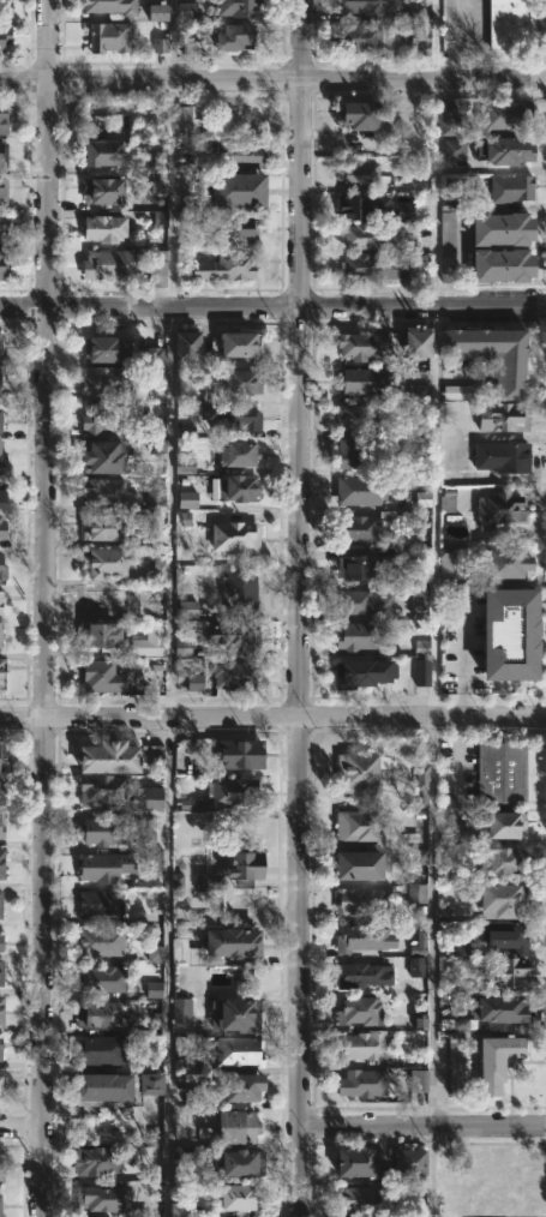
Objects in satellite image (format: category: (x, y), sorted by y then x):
building: (110, 7)
building: (366, 7)
building: (4, 8)
building: (234, 8)
building: (186, 11)
building: (157, 12)
building: (508, 25)
building: (233, 34)
building: (2, 35)
building: (108, 36)
building: (354, 38)
building: (419, 38)
building: (160, 44)
building: (193, 48)
road: (272, 80)
building: (358, 114)
building: (188, 115)
building: (503, 115)
building: (450, 119)
building: (2, 121)
building: (454, 149)
building: (508, 150)
building: (100, 151)
building: (2, 152)
building: (240, 152)
building: (157, 162)
building: (356, 173)
building: (160, 186)
building: (510, 187)
building: (1, 190)
building: (238, 190)
building: (102, 191)
building: (355, 204)
building: (403, 210)
building: (160, 217)
building: (2, 226)
building: (102, 227)
building: (236, 227)
building: (502, 228)
building: (368, 239)
building: (446, 246)
building: (1, 264)
building: (106, 264)
building: (158, 264)
building: (224, 265)
building: (371, 265)
building: (500, 265)
road: (272, 307)
building: (415, 342)
building: (185, 343)
building: (364, 344)
building: (0, 347)
building: (230, 348)
building: (104, 349)
building: (154, 355)
building: (490, 355)
building: (0, 377)
building: (362, 379)
building: (103, 380)
building: (229, 383)
building: (418, 391)
building: (462, 391)
building: (102, 416)
building: (232, 416)
building: (355, 416)
building: (502, 418)
building: (1, 420)
building: (156, 438)
building: (349, 452)
building: (236, 454)
building: (101, 456)
building: (499, 456)
building: (1, 458)
building: (184, 464)
building: (234, 488)
building: (358, 488)
building: (100, 491)
building: (154, 493)
building: (1, 494)
building: (187, 499)
building: (422, 499)
building: (446, 500)
building: (499, 510)
building: (101, 528)
building: (358, 528)
building: (1, 529)
building: (234, 536)
building: (106, 563)
building: (444, 564)
building: (504, 564)
building: (356, 568)
building: (158, 569)
building: (2, 571)
building: (238, 590)
building: (2, 598)
building: (103, 600)
building: (384, 600)
road: (42, 607)
road: (169, 607)
road: (431, 607)
building: (187, 608)
road: (300, 608)
road: (461, 608)
building: (509, 634)
building: (100, 635)
building: (238, 635)
building: (355, 635)
building: (0, 639)
building: (146, 647)
building: (182, 647)
building: (358, 672)
building: (421, 672)
building: (233, 673)
building: (2, 677)
building: (101, 677)
building: (194, 682)
road: (272, 717)
building: (0, 750)
building: (152, 751)
building: (239, 753)
building: (107, 755)
road: (457, 759)
building: (356, 772)
building: (502, 773)
building: (421, 784)
building: (104, 789)
building: (233, 790)
building: (1, 791)
building: (149, 798)
building: (193, 804)
building: (505, 822)
building: (145, 827)
building: (355, 827)
building: (100, 829)
building: (0, 832)
building: (420, 856)
building: (505, 859)
building: (1, 862)
building: (355, 865)
building: (103, 867)
building: (232, 870)
building: (176, 881)
building: (416, 893)
building: (1, 894)
building: (502, 898)
building: (360, 900)
building: (97, 904)
building: (504, 935)
building: (366, 936)
building: (230, 940)
building: (97, 941)
building: (1, 942)
building: (461, 945)
building: (416, 948)
building: (182, 952)
building: (155, 953)
building: (416, 966)
building: (1, 969)
building: (506, 972)
building: (362, 975)
building: (100, 979)
building: (154, 989)
building: (0, 1002)
building: (181, 1009)
building: (498, 1009)
building: (359, 1011)
building: (92, 1014)
building: (239, 1014)
building: (360, 1045)
building: (0, 1048)
building: (106, 1050)
building: (236, 1051)
building: (497, 1059)
building: (192, 1061)
building: (455, 1063)
building: (418, 1080)
building: (362, 1083)
building: (114, 1085)
building: (241, 1086)
building: (0, 1087)
building: (192, 1097)
building: (228, 1125)
road: (422, 1125)
road: (19, 1126)
building: (182, 1156)
building: (95, 1161)
building: (355, 1161)
building: (233, 1162)
building: (403, 1164)
building: (0, 1168)
building: (496, 1182)
building: (239, 1197)
building: (100, 1198)
building: (358, 1199)
building: (0, 1201)
building: (178, 1209)

